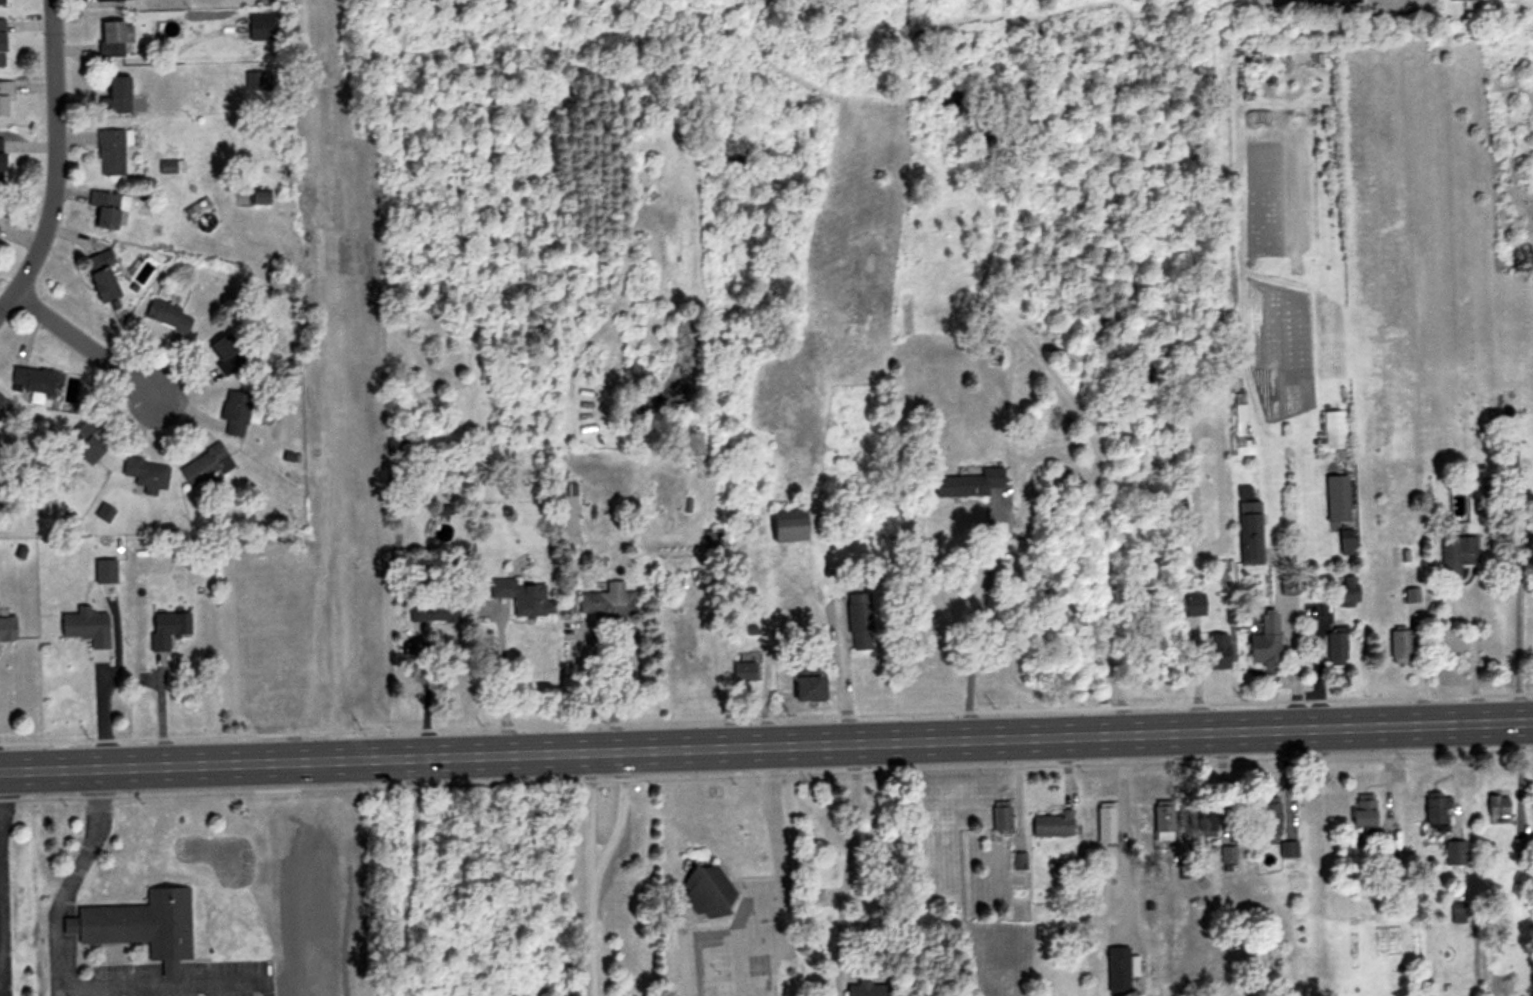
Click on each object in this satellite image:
building: (108, 0)
building: (2, 2)
building: (260, 27)
building: (113, 37)
building: (2, 42)
building: (116, 95)
building: (5, 98)
building: (110, 151)
building: (1, 160)
road: (55, 161)
building: (259, 196)
building: (106, 207)
building: (100, 274)
building: (168, 316)
road: (83, 343)
building: (225, 353)
building: (994, 357)
building: (33, 382)
building: (2, 404)
building: (234, 411)
building: (1, 420)
building: (1241, 427)
building: (1334, 429)
building: (83, 442)
building: (693, 444)
building: (1508, 454)
building: (204, 465)
building: (145, 473)
building: (968, 482)
building: (1337, 497)
building: (568, 512)
building: (789, 525)
building: (1249, 528)
building: (1346, 541)
building: (1456, 553)
building: (104, 570)
building: (1288, 586)
building: (1349, 591)
building: (1409, 595)
building: (523, 597)
building: (291, 599)
building: (606, 604)
building: (1192, 604)
building: (249, 615)
road: (973, 615)
building: (859, 621)
building: (85, 626)
building: (166, 627)
building: (7, 628)
building: (1265, 640)
road: (1514, 641)
building: (1399, 646)
building: (1336, 648)
building: (1218, 651)
road: (1469, 657)
road: (1290, 666)
building: (744, 671)
road: (837, 676)
road: (606, 684)
road: (499, 686)
building: (809, 687)
road: (294, 691)
road: (427, 695)
road: (101, 714)
road: (766, 747)
building: (1437, 808)
building: (1498, 809)
building: (1363, 812)
building: (1269, 816)
building: (1001, 817)
building: (1205, 821)
building: (1162, 823)
building: (1053, 824)
building: (1105, 824)
road: (1117, 832)
road: (771, 833)
building: (1287, 849)
building: (1455, 853)
building: (1227, 855)
road: (842, 869)
road: (594, 875)
road: (71, 878)
road: (406, 878)
building: (707, 891)
building: (1457, 912)
building: (139, 926)
building: (1117, 969)
road: (165, 986)
building: (867, 989)
road: (55, 993)

